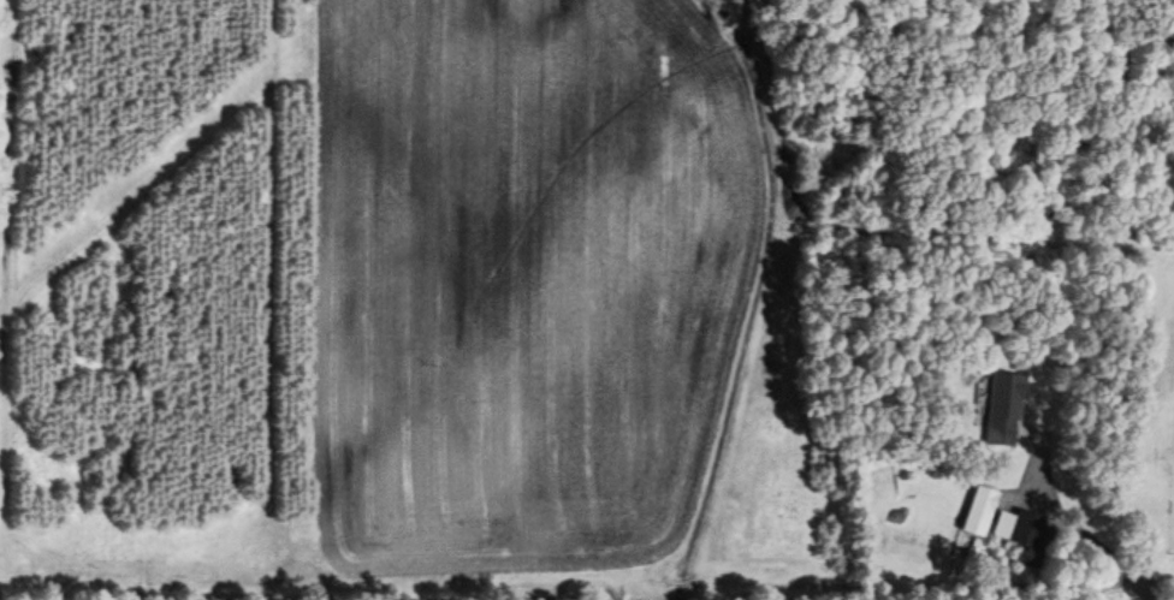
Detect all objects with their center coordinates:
building: (1002, 409)
building: (978, 510)
building: (1015, 528)

